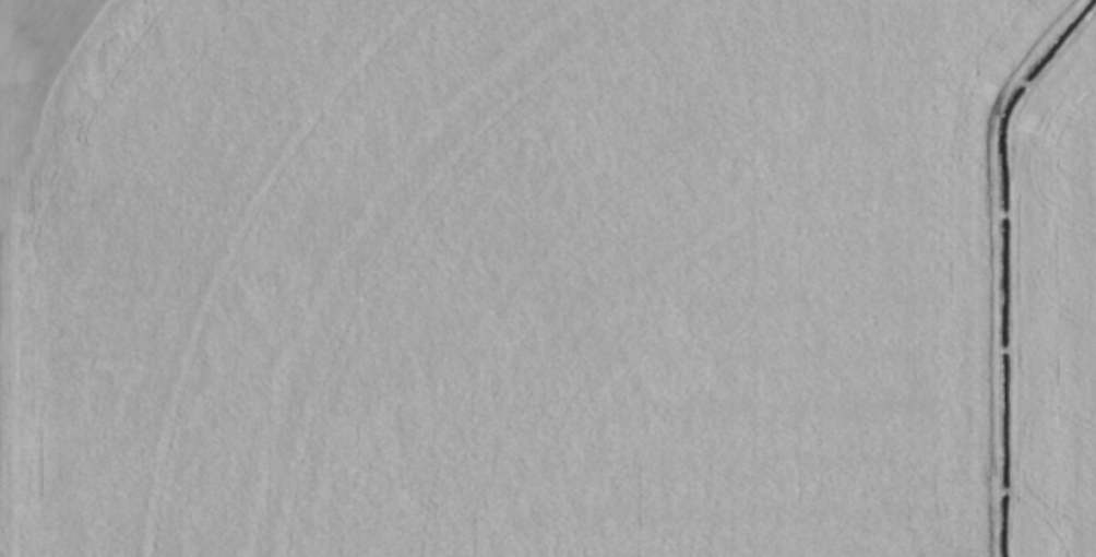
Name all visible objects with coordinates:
crop: (548, 278)

